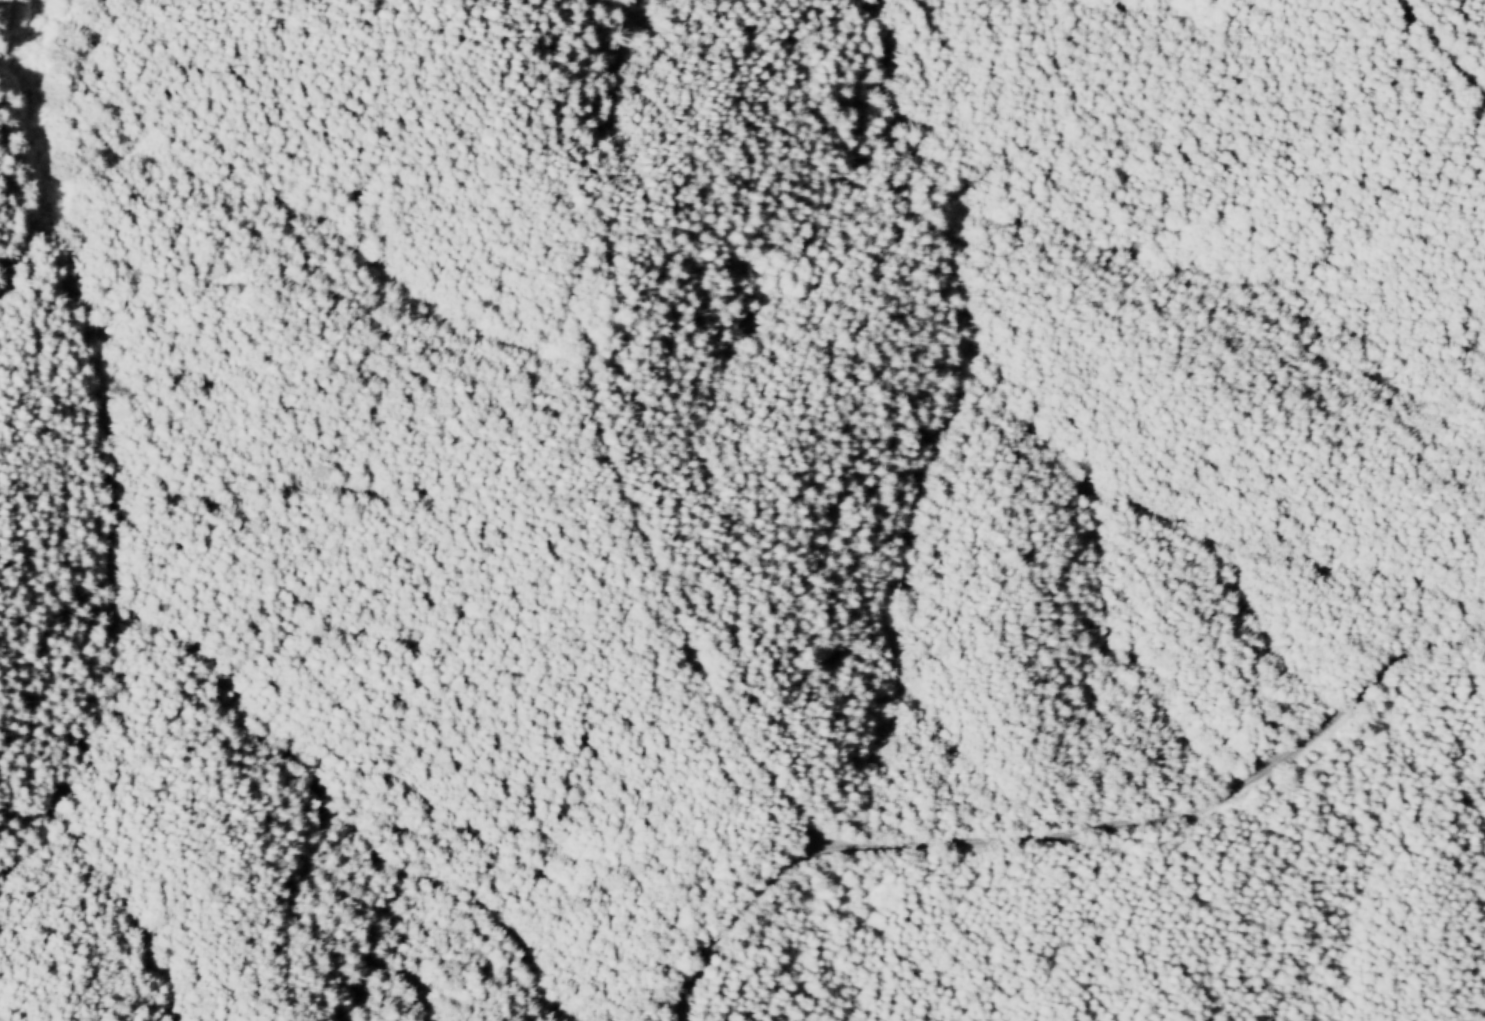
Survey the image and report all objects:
road: (1262, 318)

